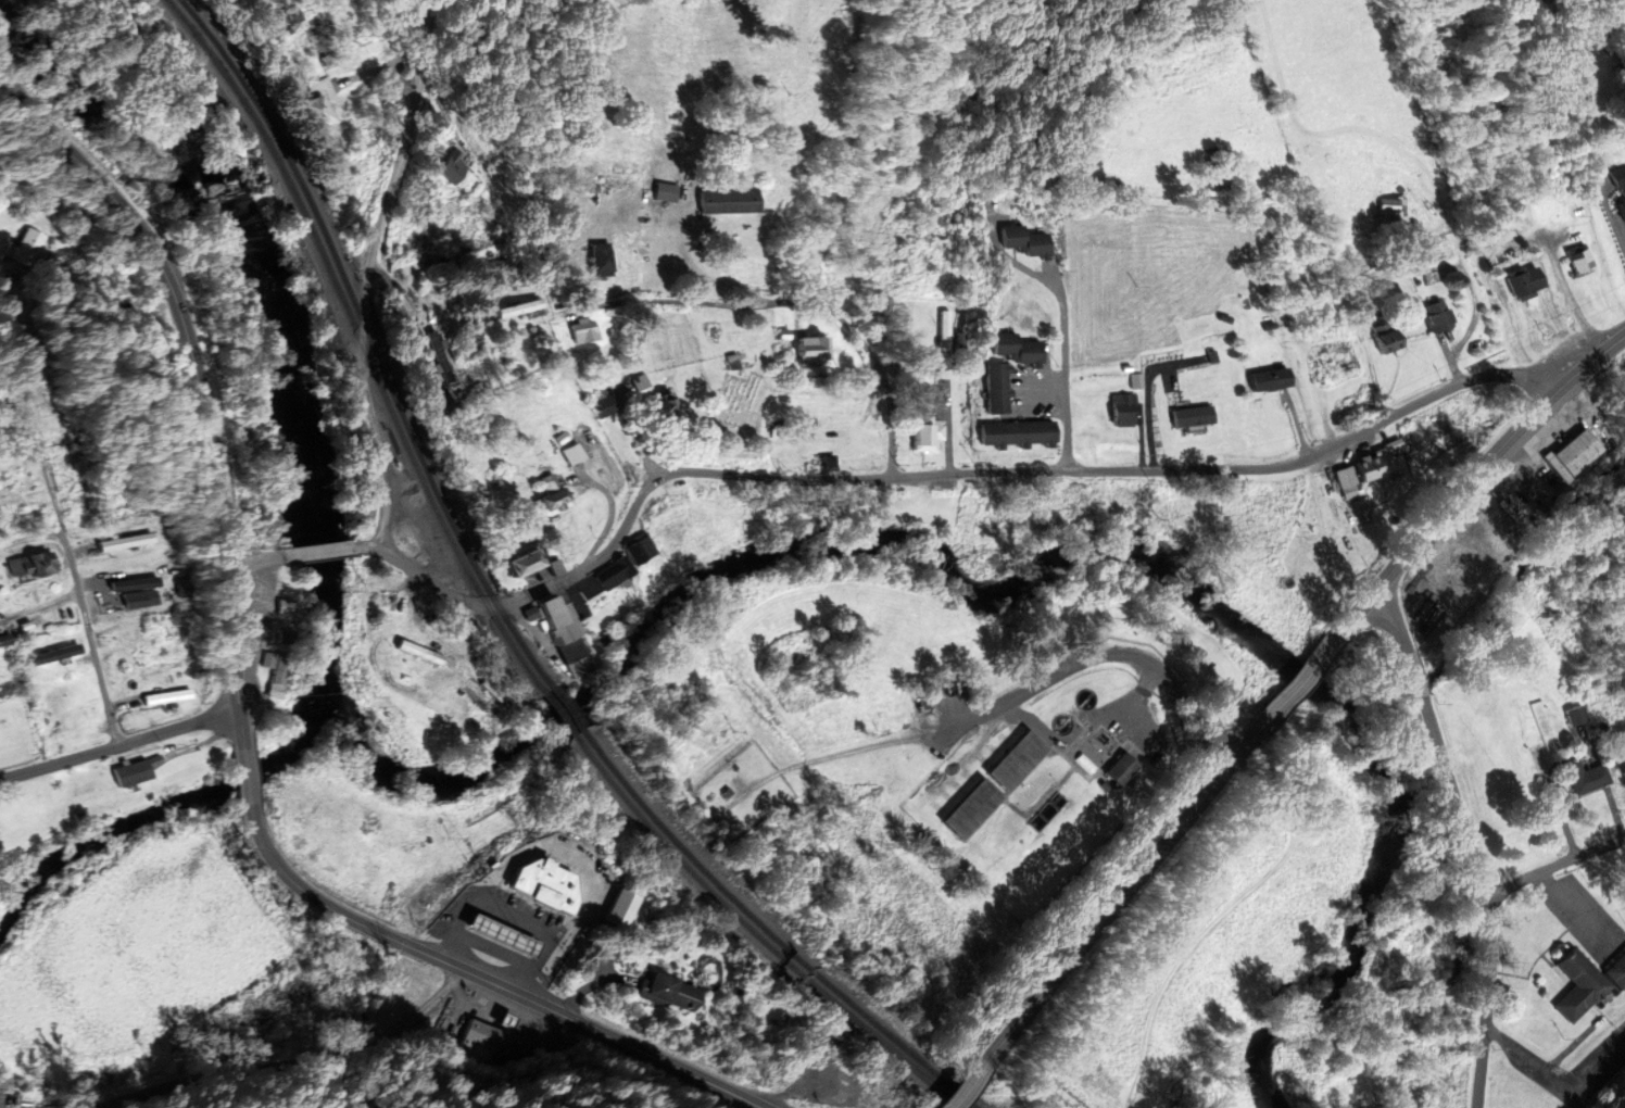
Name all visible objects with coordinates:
building: (290, 15)
building: (176, 28)
building: (319, 102)
road: (448, 127)
road: (1371, 133)
building: (452, 168)
building: (1214, 178)
building: (1622, 182)
building: (665, 192)
building: (729, 198)
building: (1387, 206)
road: (92, 228)
building: (1025, 241)
building: (27, 248)
building: (601, 259)
building: (1579, 259)
road: (369, 273)
road: (440, 277)
building: (1524, 281)
road: (786, 304)
building: (518, 309)
building: (1437, 316)
building: (581, 330)
building: (470, 338)
building: (1387, 338)
building: (811, 348)
building: (1017, 348)
road: (1597, 355)
building: (439, 357)
building: (1344, 361)
road: (1062, 368)
road: (1514, 375)
road: (197, 379)
building: (1269, 379)
building: (996, 388)
building: (602, 406)
building: (1122, 410)
building: (1191, 416)
building: (1017, 432)
building: (927, 436)
building: (871, 439)
building: (569, 453)
building: (1571, 455)
building: (1368, 469)
road: (880, 477)
building: (544, 496)
building: (1363, 505)
building: (666, 507)
road: (30, 539)
building: (125, 542)
building: (637, 551)
road: (316, 552)
road: (253, 559)
building: (520, 563)
building: (28, 566)
building: (608, 574)
road: (75, 576)
building: (135, 584)
railway: (500, 608)
railway: (488, 609)
building: (562, 635)
building: (285, 637)
building: (418, 653)
building: (158, 655)
building: (274, 672)
building: (167, 697)
road: (1005, 702)
road: (1271, 714)
building: (1573, 716)
building: (1542, 725)
road: (119, 745)
building: (1016, 761)
building: (1120, 770)
building: (131, 773)
road: (244, 778)
building: (1588, 779)
road: (1551, 785)
building: (971, 810)
road: (1465, 840)
road: (1553, 865)
road: (1218, 909)
road: (483, 979)
building: (1586, 984)
building: (669, 993)
building: (477, 1043)
road: (301, 1065)
road: (968, 1086)

